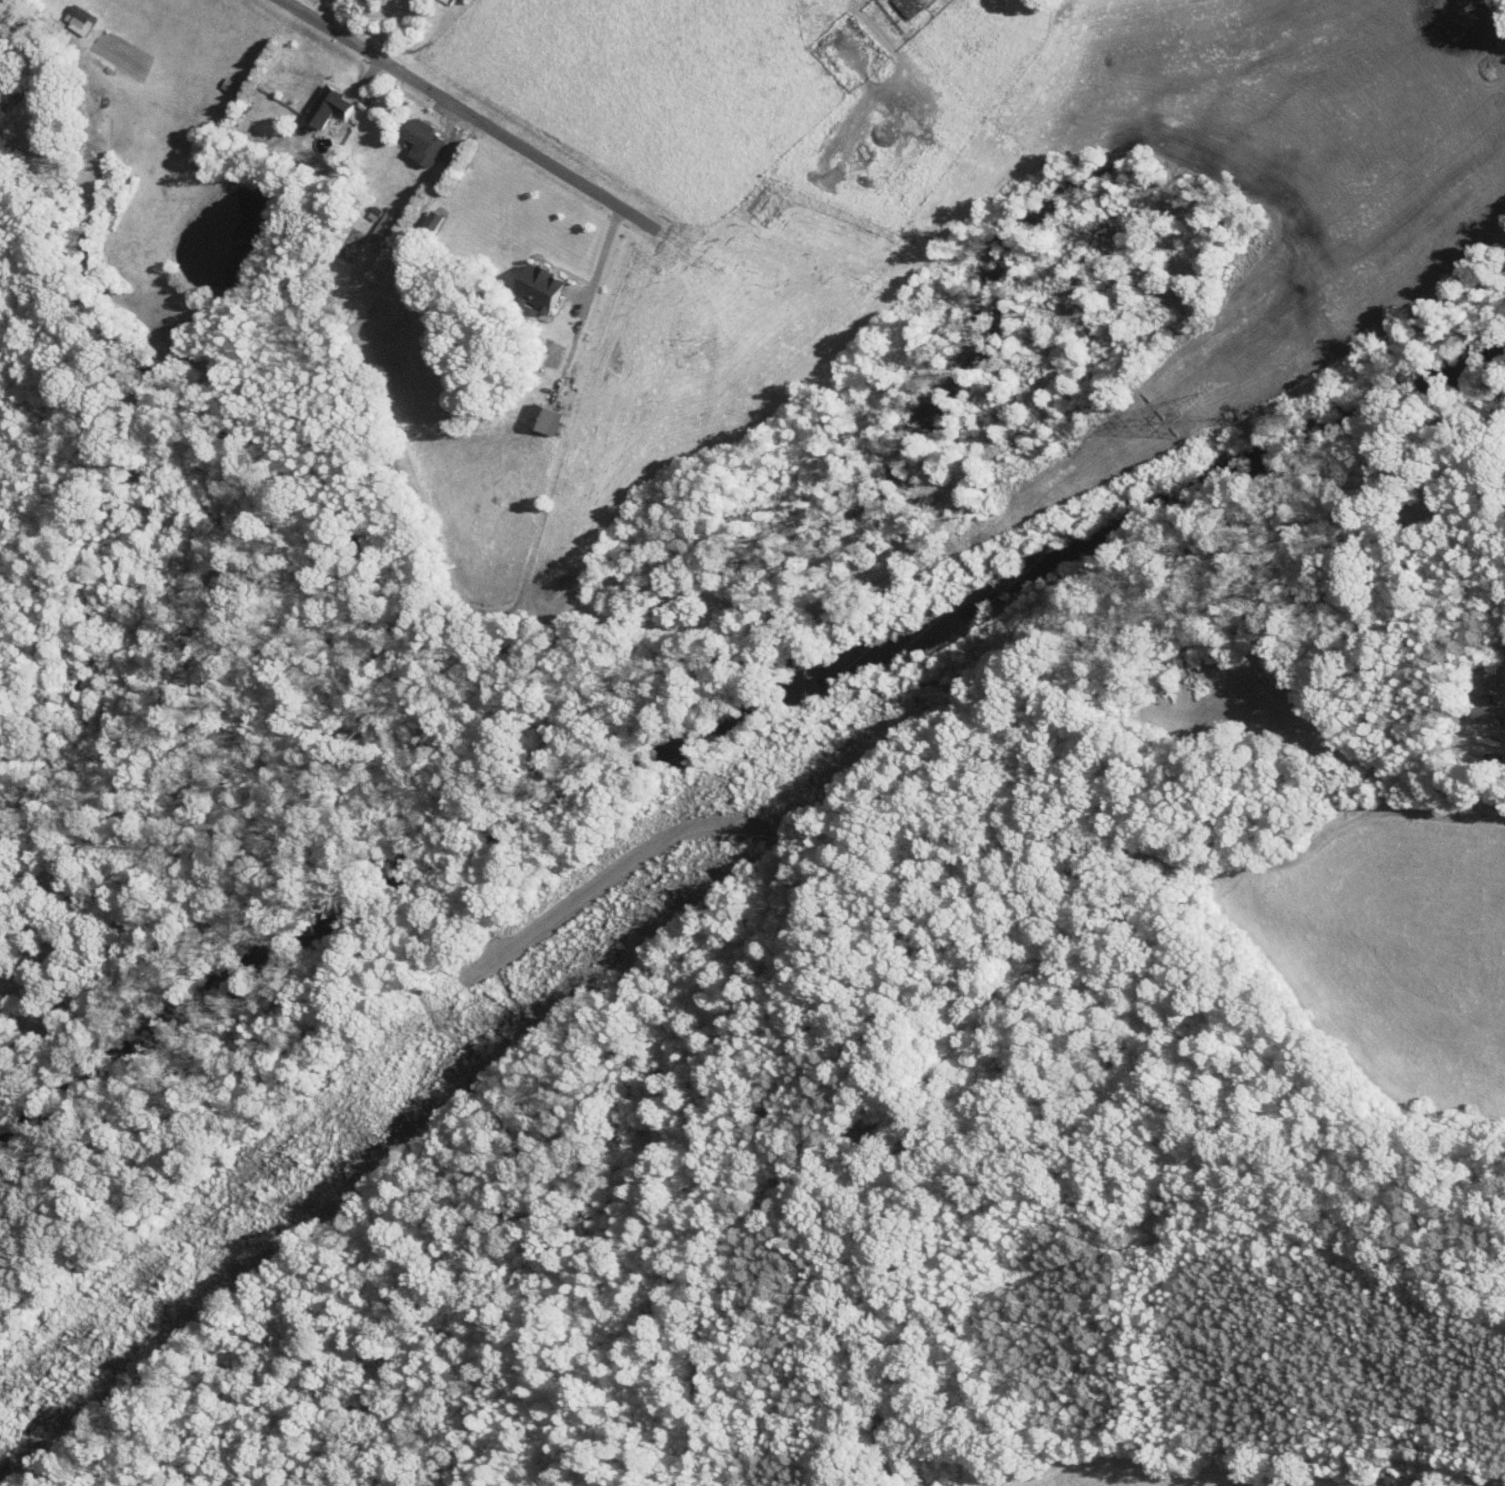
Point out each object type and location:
building: (907, 7)
building: (79, 22)
building: (227, 85)
building: (326, 107)
road: (467, 111)
building: (420, 141)
building: (384, 223)
road: (604, 253)
building: (536, 288)
power tower: (1204, 412)
building: (541, 420)
building: (1486, 697)
power tower: (486, 1020)

